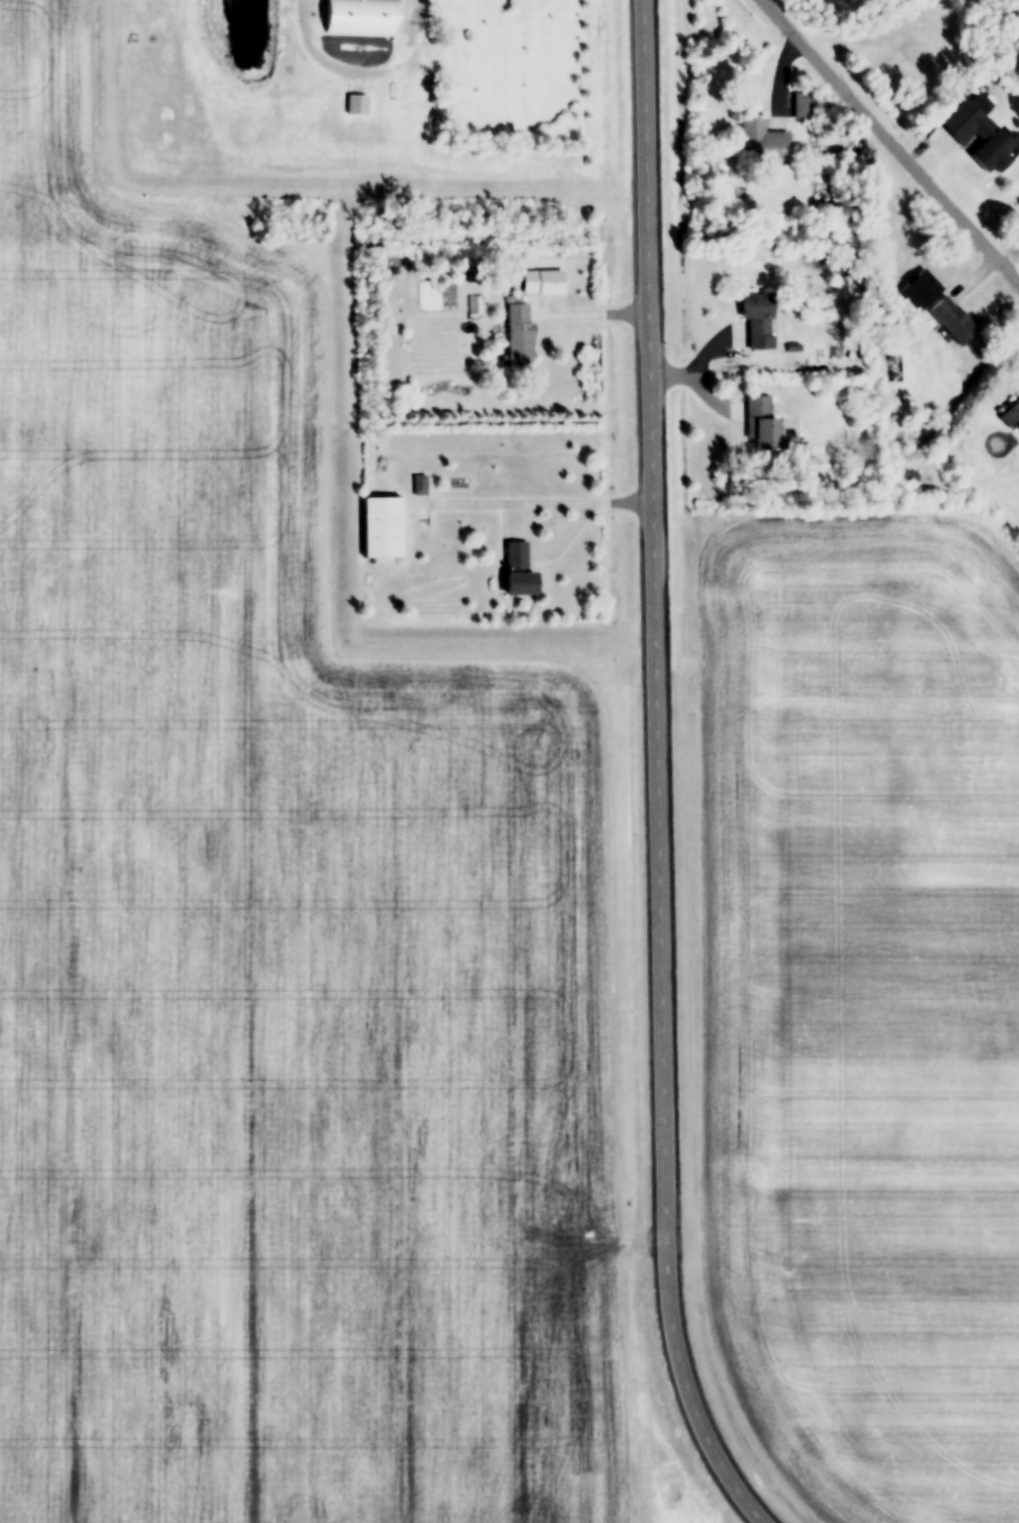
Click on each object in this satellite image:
building: (357, 16)
building: (904, 46)
building: (984, 99)
building: (802, 103)
building: (981, 133)
road: (888, 138)
building: (761, 139)
building: (471, 273)
building: (541, 281)
road: (591, 315)
building: (755, 318)
building: (950, 318)
street lamp: (704, 327)
street lamp: (553, 332)
building: (517, 334)
building: (789, 362)
building: (1011, 412)
building: (761, 421)
street lamp: (718, 428)
building: (417, 483)
road: (542, 504)
building: (379, 524)
building: (516, 568)
road: (659, 774)
crop: (268, 930)
crop: (863, 1003)

